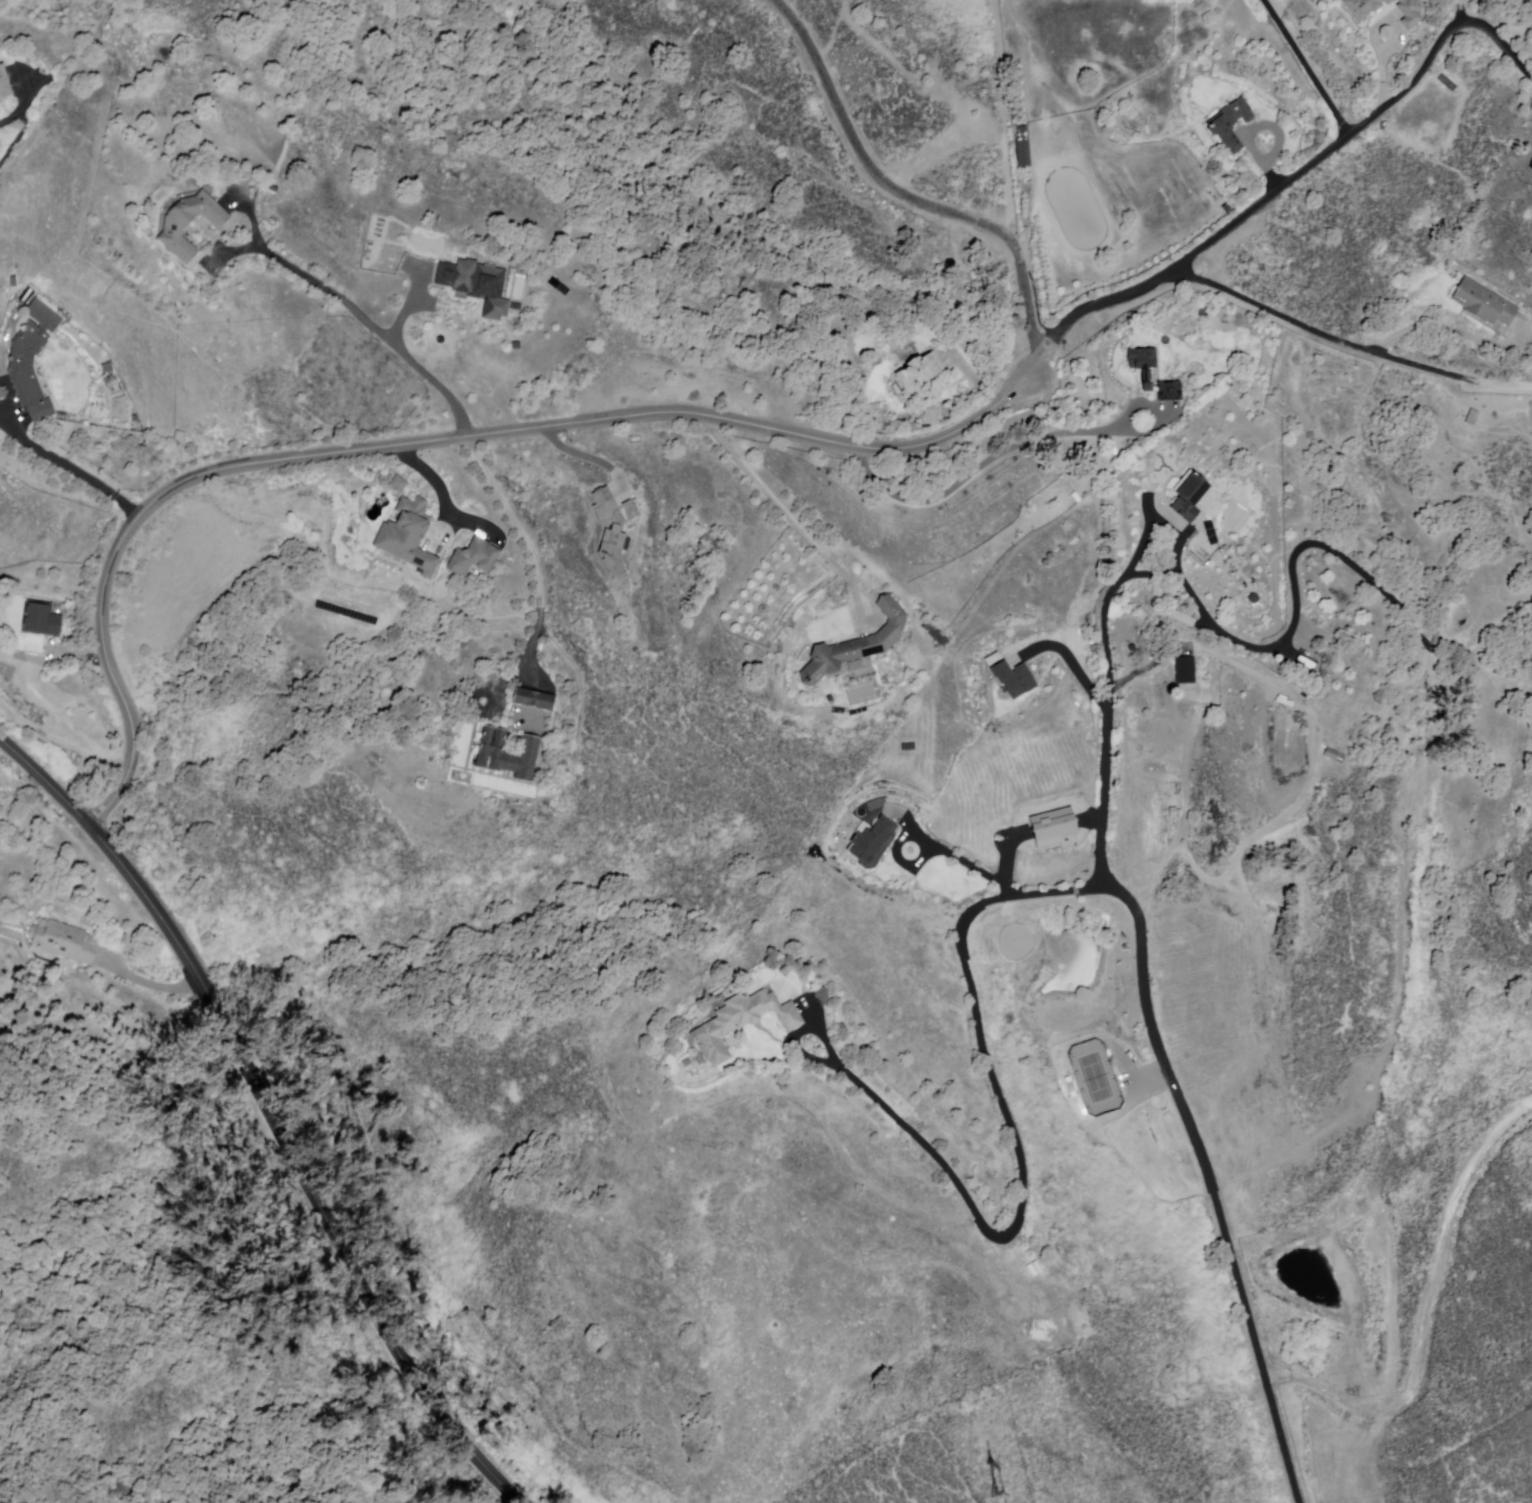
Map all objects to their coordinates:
road: (1277, 3)
building: (1363, 8)
building: (1411, 13)
road: (1376, 38)
crop: (1098, 40)
road: (1308, 66)
building: (6, 81)
road: (24, 106)
building: (1229, 123)
road: (1255, 129)
road: (903, 192)
building: (192, 222)
building: (15, 279)
building: (476, 284)
building: (26, 293)
building: (1485, 303)
road: (407, 312)
building: (74, 323)
road: (1456, 331)
road: (1349, 337)
building: (516, 344)
building: (107, 346)
building: (34, 359)
building: (108, 366)
building: (1145, 374)
building: (919, 376)
road: (974, 379)
building: (112, 381)
building: (136, 417)
road: (463, 418)
road: (748, 426)
building: (181, 435)
road: (984, 464)
road: (76, 469)
road: (428, 472)
building: (401, 484)
building: (1189, 496)
building: (630, 509)
road: (789, 514)
road: (1161, 524)
building: (617, 533)
building: (410, 536)
building: (477, 558)
building: (1253, 598)
building: (1179, 618)
building: (43, 619)
building: (935, 633)
building: (856, 643)
road: (1278, 646)
building: (1304, 664)
road: (1075, 667)
building: (1185, 670)
building: (1013, 677)
building: (537, 700)
building: (1330, 753)
building: (510, 754)
building: (1055, 825)
building: (1152, 829)
building: (867, 843)
road: (967, 865)
building: (61, 944)
road: (155, 982)
building: (741, 1022)
park: (1096, 1078)
road: (1177, 1103)
road: (266, 1114)
road: (1010, 1126)
power tower: (988, 1485)

